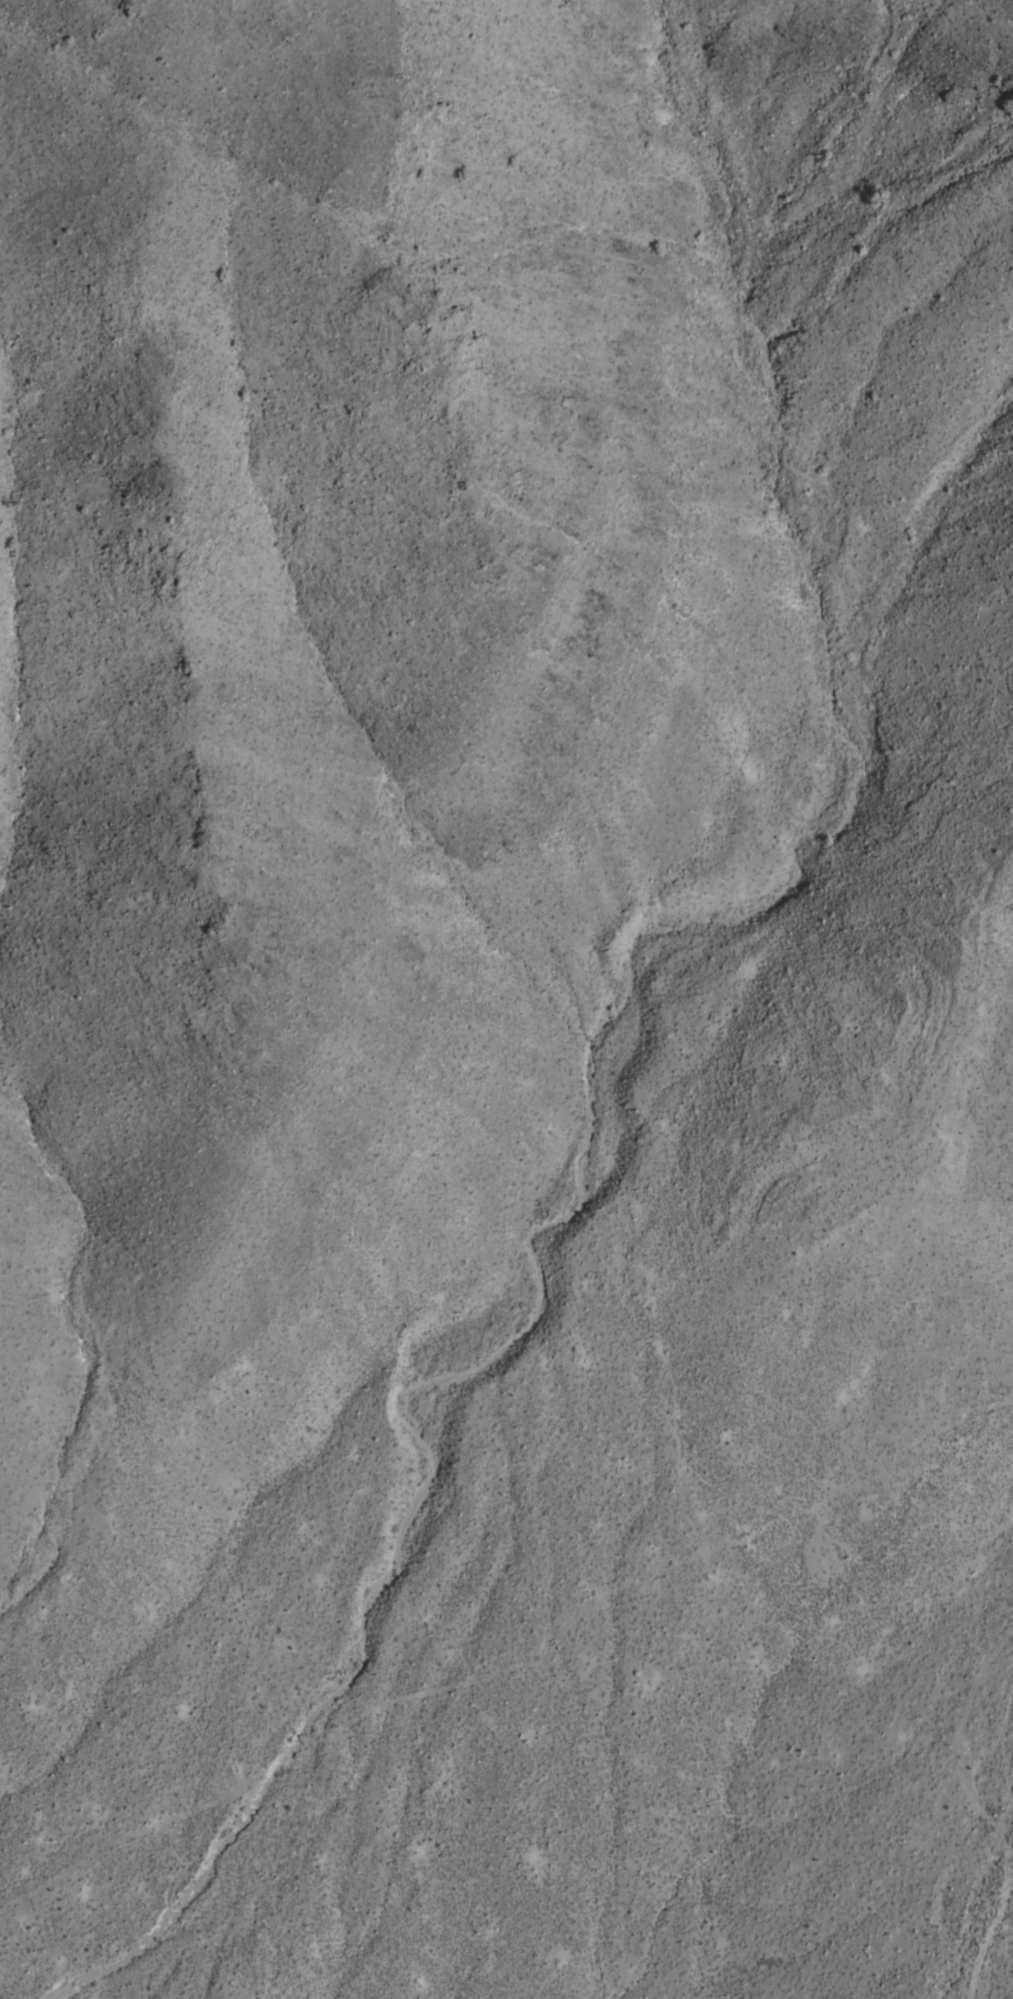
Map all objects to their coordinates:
road: (948, 1788)

